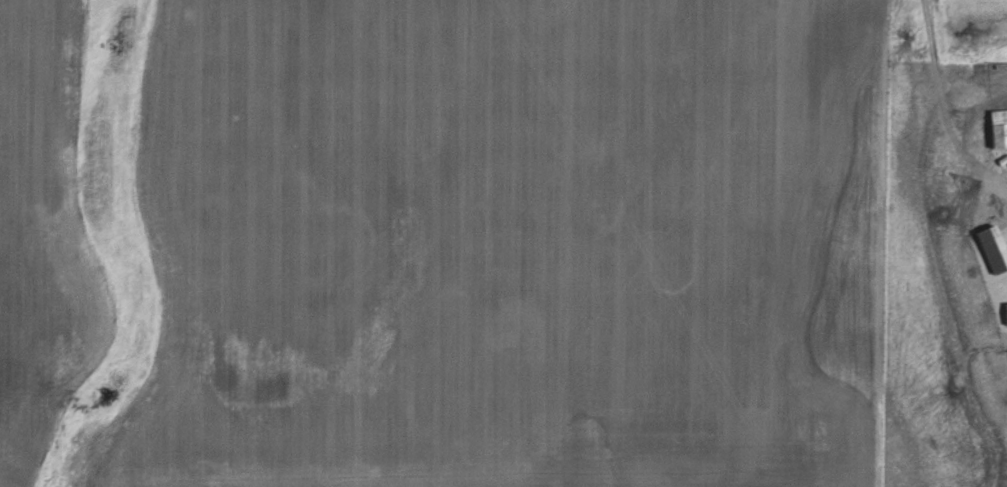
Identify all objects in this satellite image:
road: (998, 179)
building: (988, 249)
building: (1003, 313)

